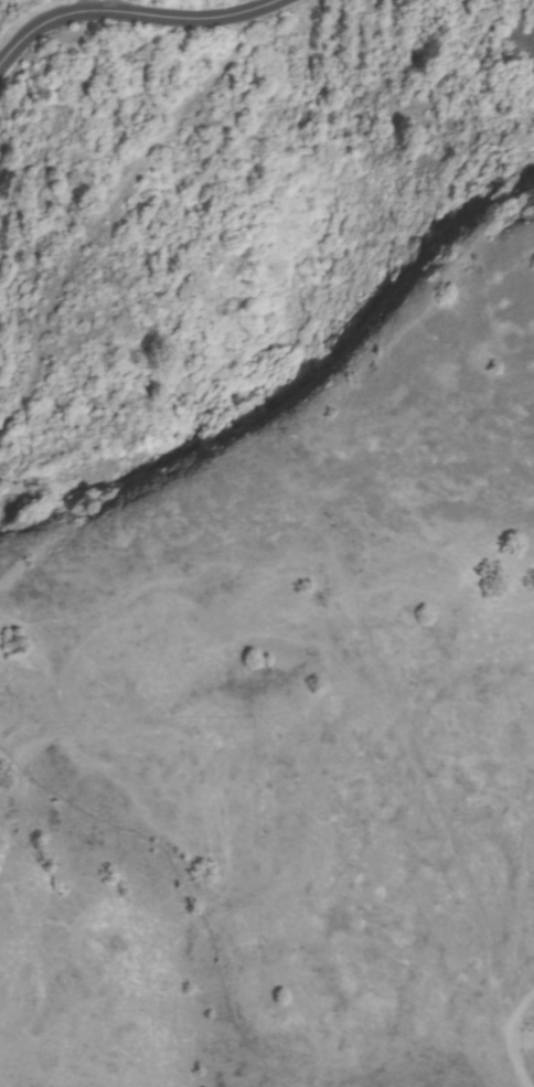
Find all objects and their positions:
road: (150, 32)

